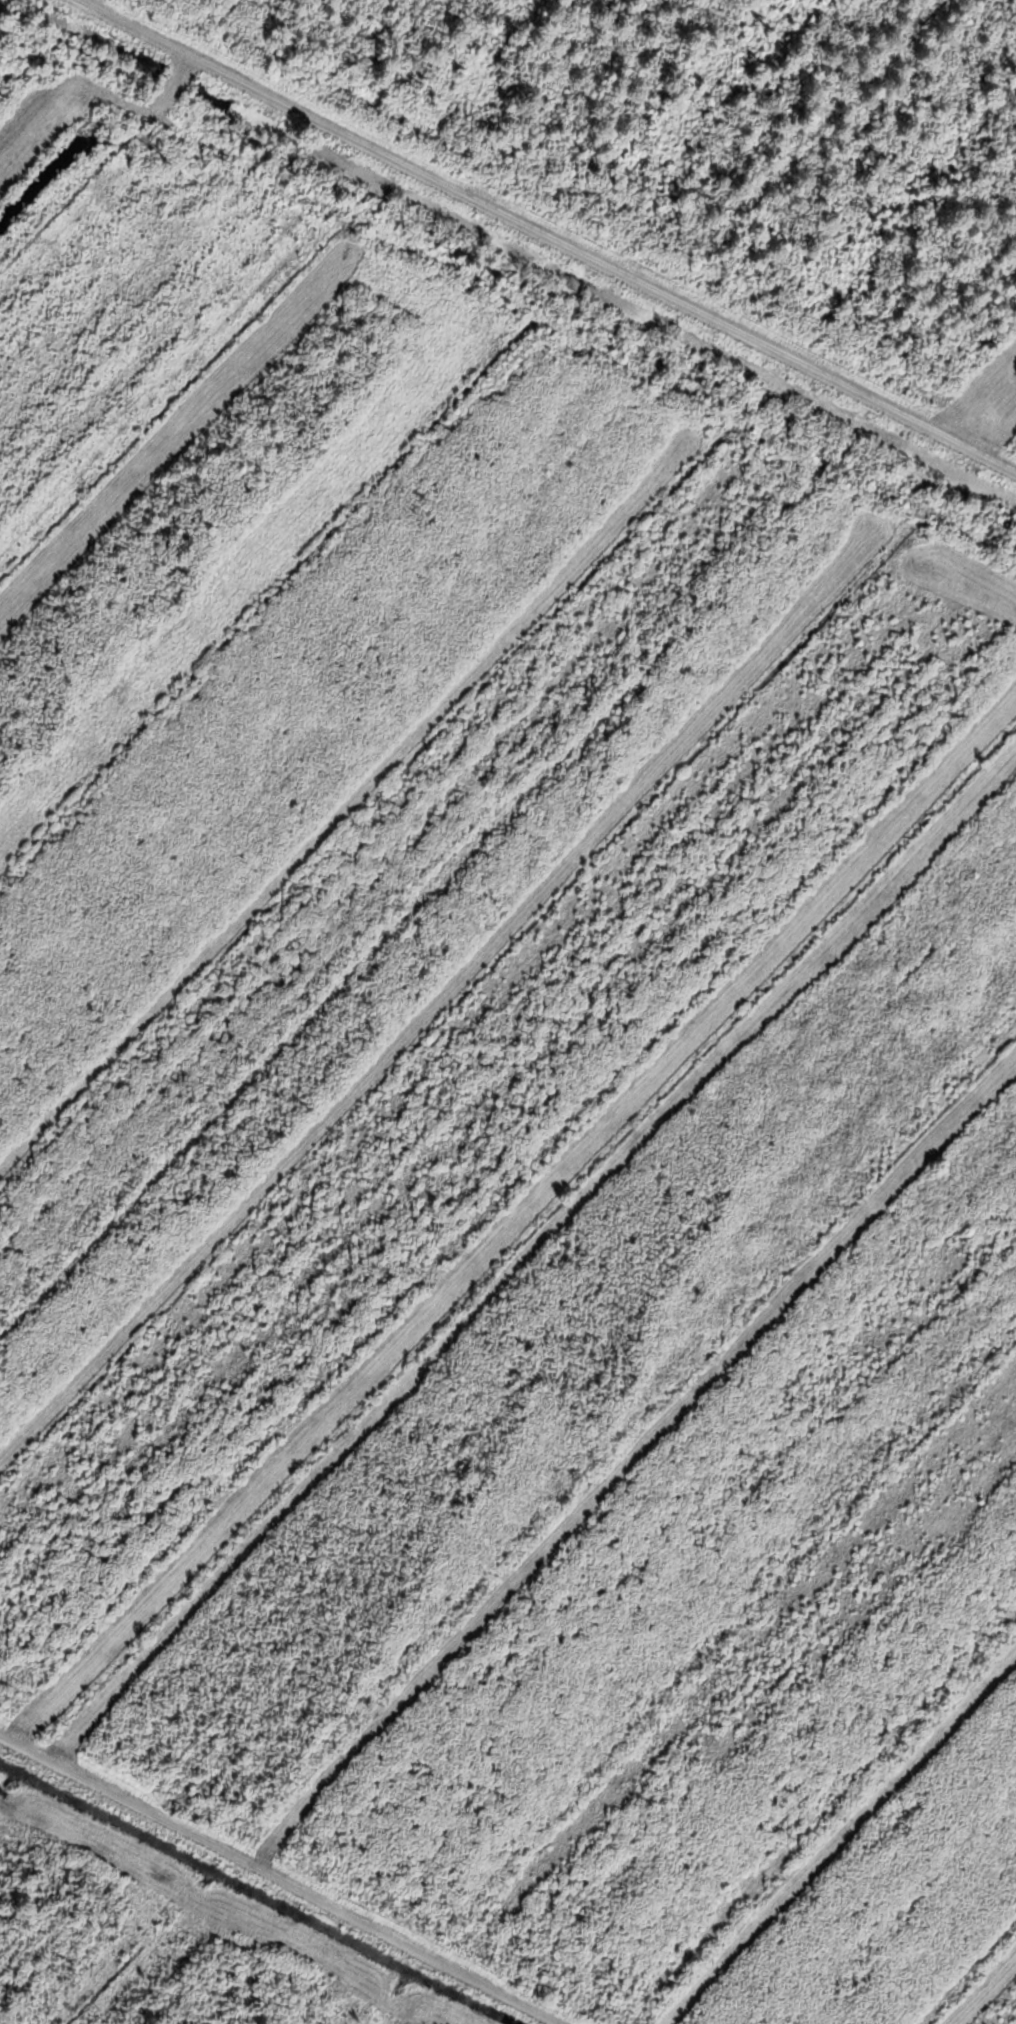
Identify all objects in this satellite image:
road: (545, 240)
road: (292, 1875)

